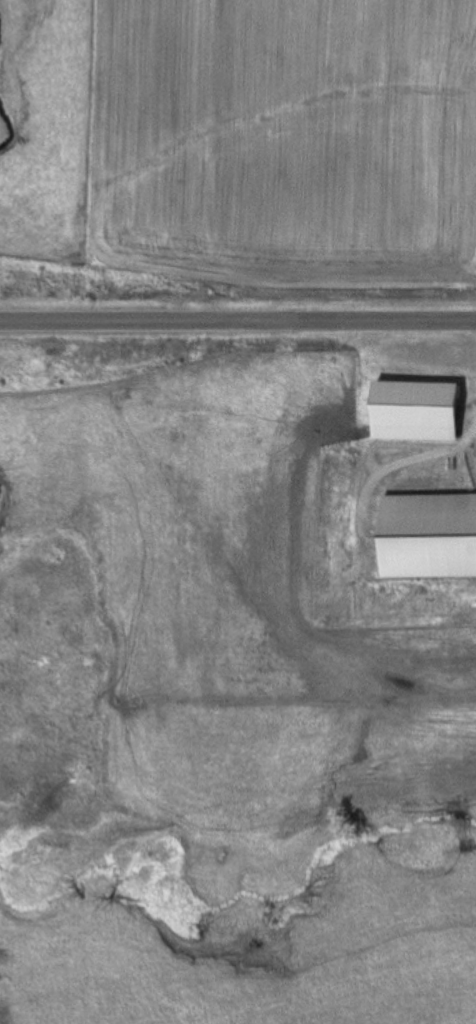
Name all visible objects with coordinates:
road: (237, 319)
building: (410, 411)
building: (426, 535)

